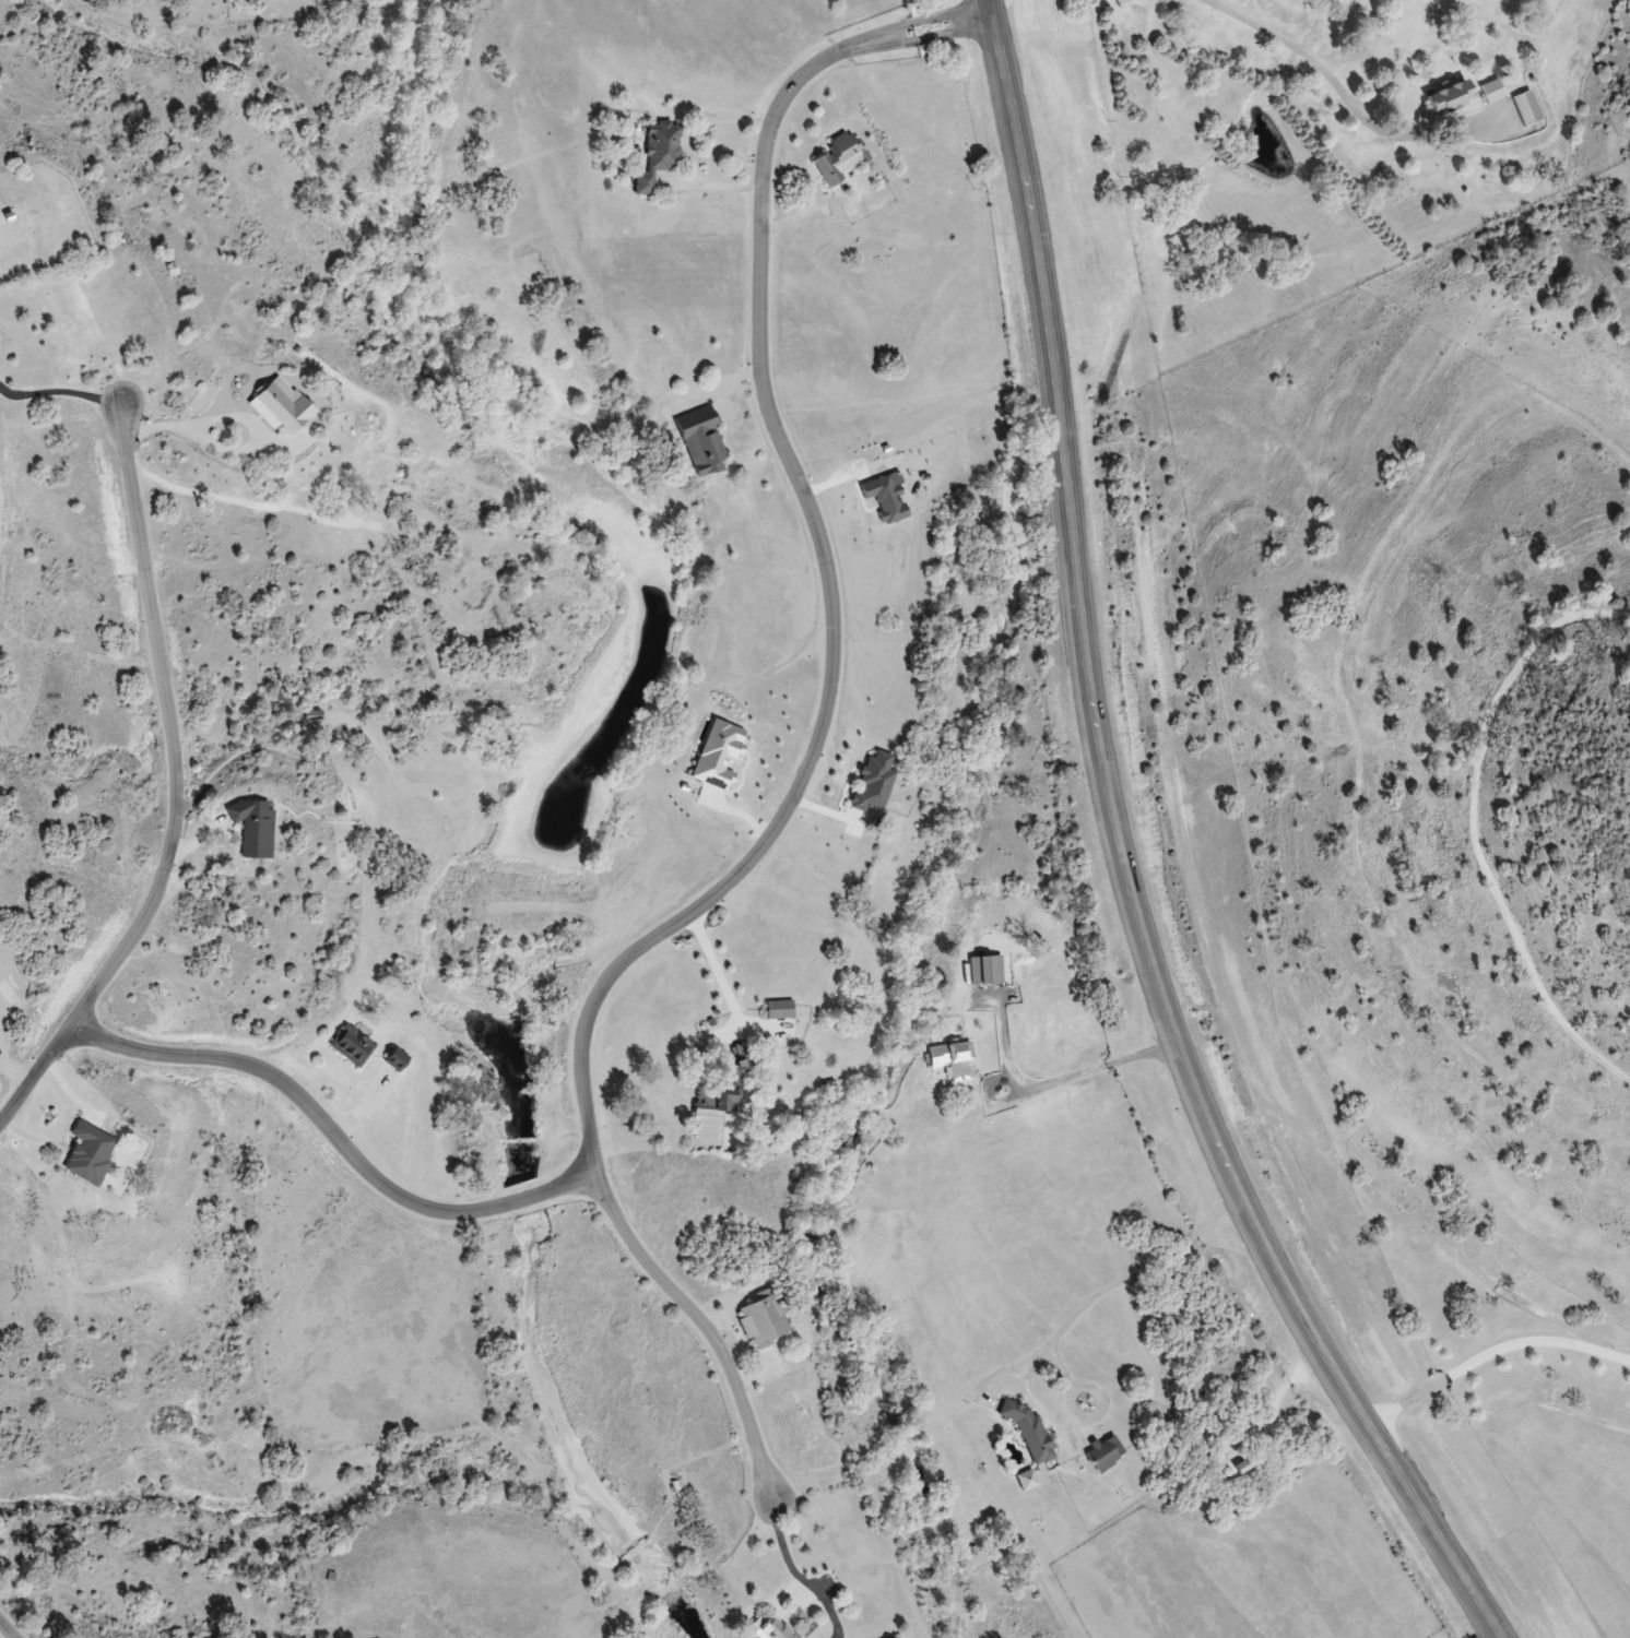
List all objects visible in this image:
road: (1350, 91)
building: (1493, 92)
building: (1452, 97)
building: (1527, 109)
road: (710, 129)
building: (662, 156)
building: (842, 159)
road: (716, 190)
road: (59, 392)
building: (285, 405)
road: (249, 416)
building: (705, 441)
road: (826, 562)
road: (182, 790)
building: (258, 827)
road: (1131, 857)
building: (988, 970)
road: (720, 972)
building: (783, 1009)
building: (354, 1046)
building: (400, 1060)
building: (956, 1060)
road: (1059, 1079)
building: (722, 1102)
building: (94, 1154)
road: (498, 1211)
road: (1111, 1285)
building: (768, 1318)
road: (1500, 1355)
building: (1031, 1431)
building: (1108, 1455)
building: (682, 1489)
road: (805, 1575)
road: (9, 1628)
building: (771, 1629)
building: (808, 1630)

